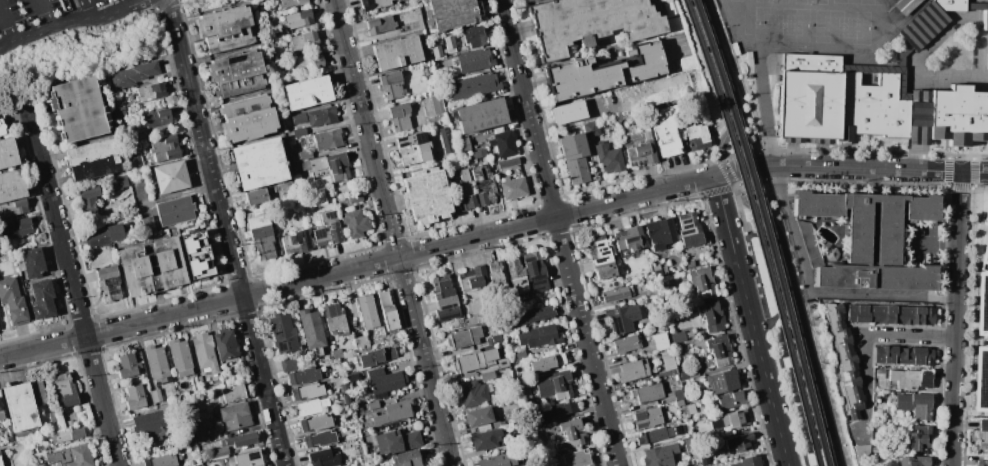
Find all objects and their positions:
building: (522, 0)
building: (527, 0)
park: (773, 1)
park: (810, 2)
park: (861, 2)
road: (128, 3)
building: (291, 3)
building: (373, 4)
building: (905, 5)
road: (90, 10)
parking lot: (40, 12)
building: (451, 13)
road: (46, 14)
track: (746, 17)
building: (297, 19)
building: (985, 20)
building: (929, 21)
road: (7, 23)
road: (72, 23)
building: (589, 23)
building: (380, 24)
park: (781, 24)
park: (842, 26)
building: (225, 29)
building: (474, 36)
road: (88, 40)
building: (304, 40)
track: (806, 48)
building: (397, 53)
building: (440, 54)
building: (987, 57)
building: (474, 61)
building: (307, 62)
building: (236, 73)
building: (604, 73)
building: (132, 75)
park: (720, 81)
building: (481, 83)
building: (392, 85)
road: (730, 87)
building: (150, 92)
building: (307, 93)
building: (437, 103)
building: (870, 104)
road: (527, 108)
building: (78, 109)
road: (768, 109)
building: (568, 112)
building: (481, 115)
building: (316, 116)
building: (399, 117)
building: (155, 118)
building: (247, 118)
building: (2, 128)
road: (365, 128)
building: (590, 128)
building: (665, 131)
building: (299, 132)
building: (697, 135)
building: (328, 139)
building: (446, 141)
building: (503, 143)
building: (462, 144)
building: (572, 146)
building: (413, 148)
building: (639, 148)
building: (163, 149)
building: (479, 153)
building: (8, 154)
building: (303, 154)
building: (92, 159)
building: (608, 159)
building: (135, 161)
building: (508, 162)
building: (259, 163)
building: (318, 163)
building: (338, 167)
road: (850, 168)
building: (578, 170)
building: (322, 173)
building: (170, 177)
building: (116, 183)
building: (483, 184)
building: (12, 185)
building: (514, 188)
building: (462, 190)
building: (426, 196)
building: (255, 197)
building: (317, 198)
building: (355, 198)
building: (87, 201)
building: (13, 208)
building: (176, 211)
building: (986, 216)
building: (355, 223)
building: (19, 229)
building: (327, 230)
building: (688, 230)
railway: (758, 231)
railway: (765, 231)
road: (225, 233)
building: (660, 233)
building: (261, 234)
building: (104, 236)
building: (871, 239)
building: (297, 241)
building: (629, 241)
building: (809, 244)
building: (198, 256)
building: (601, 257)
building: (32, 263)
building: (690, 263)
building: (152, 266)
road: (356, 266)
building: (656, 269)
building: (527, 273)
building: (495, 274)
building: (471, 279)
road: (759, 279)
road: (71, 280)
building: (702, 282)
building: (109, 283)
building: (652, 292)
building: (617, 294)
building: (445, 299)
building: (43, 300)
building: (13, 301)
building: (387, 310)
building: (367, 311)
road: (800, 311)
building: (890, 314)
building: (533, 315)
building: (711, 316)
road: (775, 316)
building: (623, 318)
road: (956, 318)
building: (335, 319)
building: (476, 320)
road: (751, 320)
road: (761, 325)
park: (793, 326)
building: (507, 329)
building: (981, 330)
building: (312, 331)
building: (283, 333)
building: (682, 335)
building: (494, 336)
building: (539, 336)
building: (464, 337)
road: (913, 337)
road: (585, 341)
building: (661, 341)
building: (225, 344)
building: (362, 344)
building: (626, 344)
building: (719, 350)
building: (204, 353)
building: (337, 353)
building: (379, 355)
building: (519, 355)
building: (902, 355)
building: (179, 357)
building: (845, 358)
building: (475, 359)
road: (424, 360)
building: (550, 360)
building: (668, 360)
building: (156, 362)
building: (290, 363)
building: (502, 363)
building: (128, 366)
building: (352, 368)
building: (633, 370)
building: (880, 373)
building: (689, 374)
building: (306, 375)
building: (487, 375)
building: (912, 378)
building: (384, 380)
building: (722, 381)
building: (560, 384)
road: (870, 384)
building: (346, 386)
building: (65, 390)
building: (309, 391)
building: (39, 392)
building: (470, 393)
building: (647, 393)
building: (231, 394)
building: (523, 394)
building: (155, 396)
building: (135, 397)
building: (674, 397)
building: (731, 400)
building: (373, 404)
building: (915, 405)
building: (1, 406)
building: (21, 407)
building: (310, 407)
building: (561, 408)
building: (690, 408)
building: (393, 412)
building: (2, 415)
building: (234, 417)
building: (478, 417)
building: (650, 417)
building: (735, 418)
building: (315, 422)
building: (152, 425)
building: (201, 426)
building: (679, 428)
building: (571, 434)
building: (684, 434)
building: (983, 434)
building: (67, 435)
building: (654, 435)
building: (522, 436)
building: (918, 437)
building: (319, 438)
building: (240, 440)
building: (483, 440)
building: (397, 441)
building: (739, 442)
building: (689, 444)
building: (40, 448)
building: (219, 452)
building: (662, 455)
building: (72, 456)
building: (248, 458)
building: (323, 458)
building: (576, 458)
building: (405, 459)
building: (498, 460)
building: (161, 461)
building: (748, 461)
building: (913, 461)
building: (1, 462)
building: (982, 463)
building: (191, 465)
building: (700, 465)

